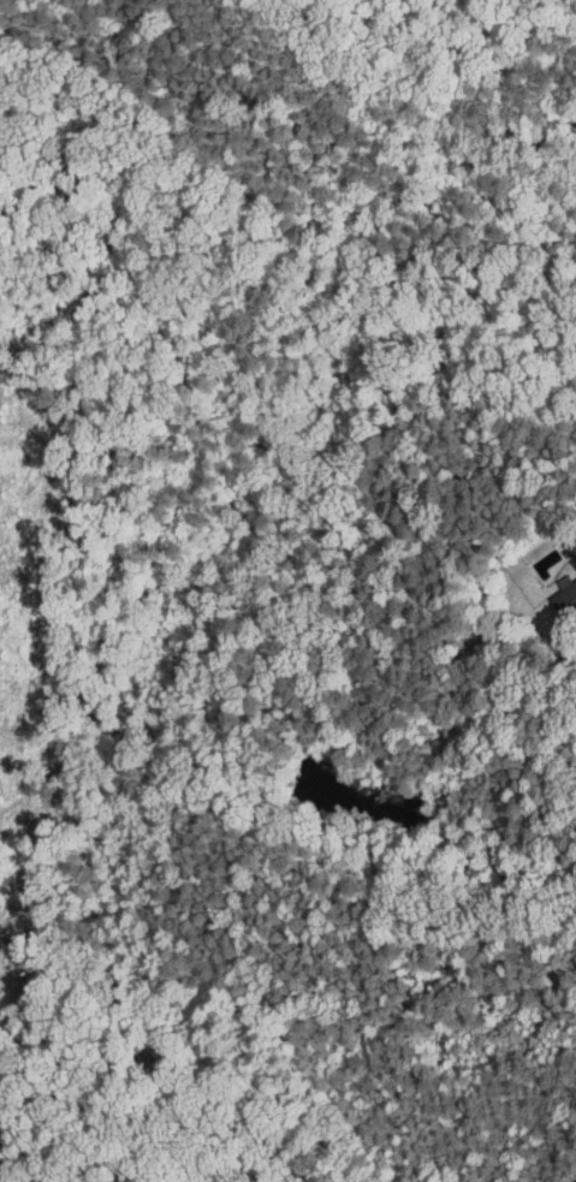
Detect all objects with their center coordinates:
building: (559, 592)

